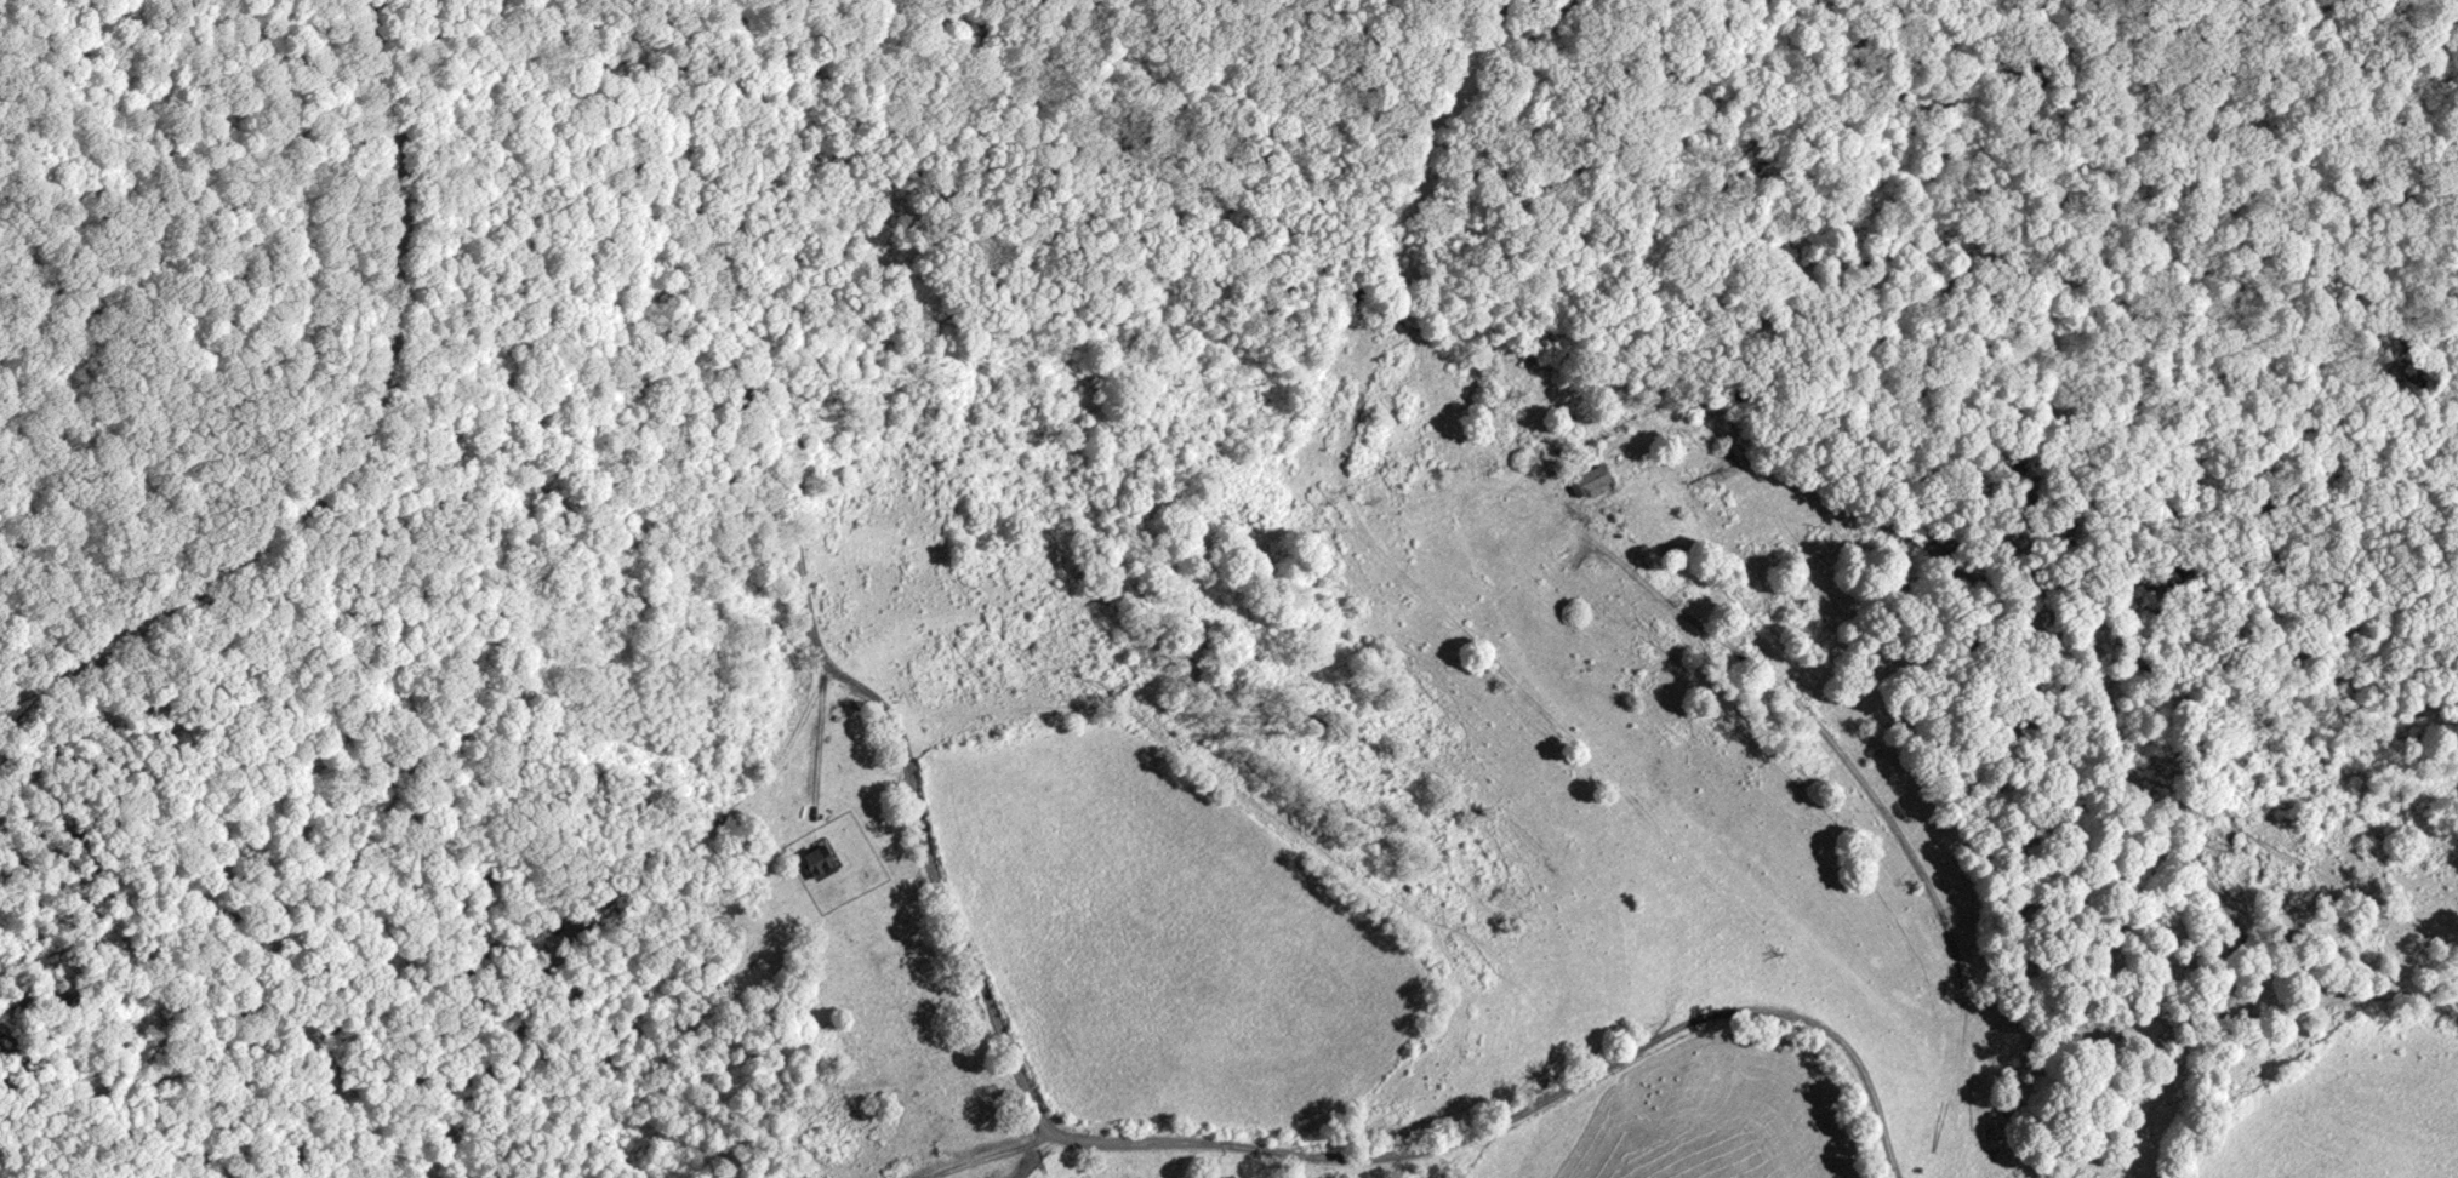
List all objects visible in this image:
road: (365, 445)
building: (1599, 482)
road: (1874, 796)
building: (825, 860)
road: (996, 1018)

